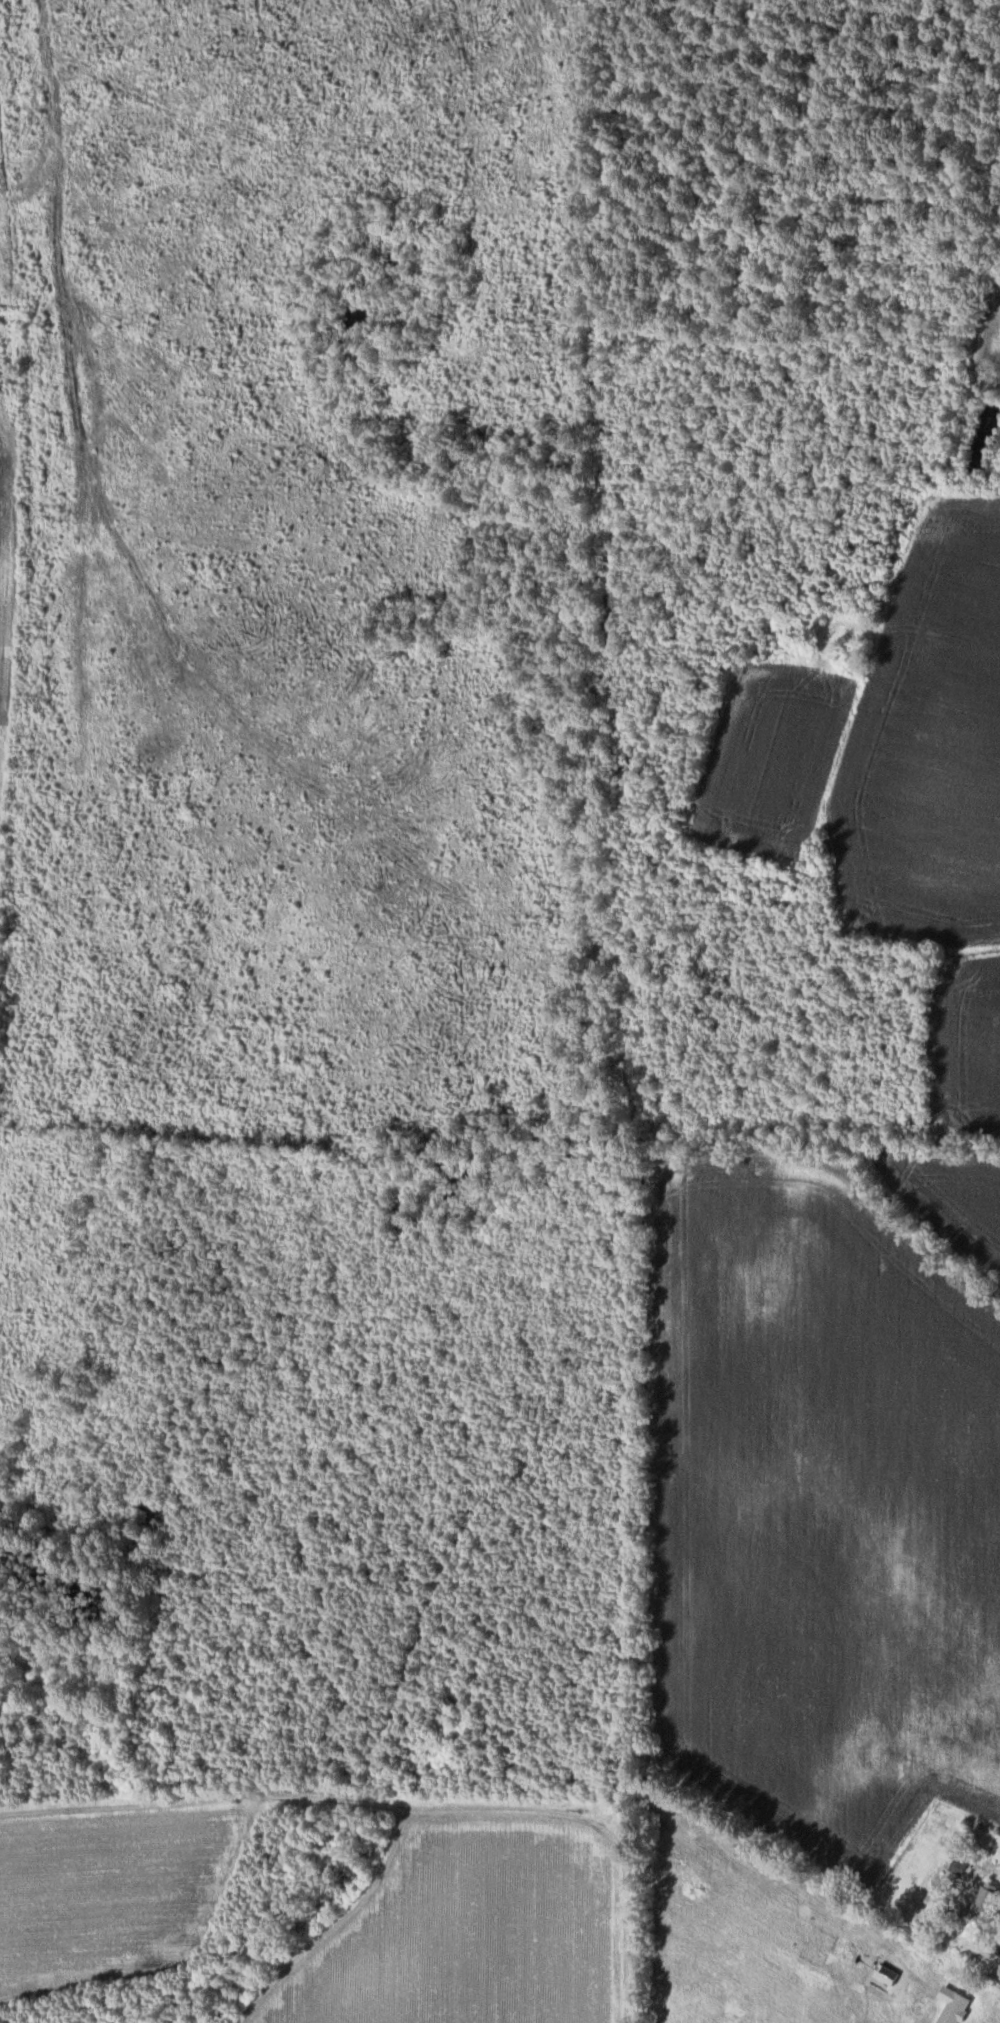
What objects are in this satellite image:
building: (980, 1903)
road: (980, 1960)
building: (949, 2004)

